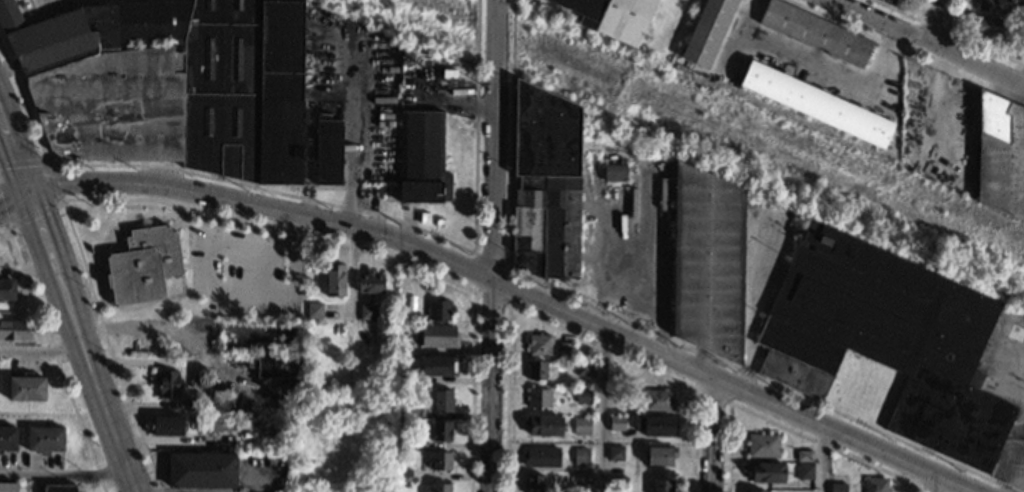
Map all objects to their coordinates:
building: (985, 5)
building: (1022, 8)
building: (611, 17)
road: (939, 23)
building: (986, 27)
building: (706, 31)
building: (815, 33)
road: (928, 41)
building: (1022, 47)
building: (409, 48)
building: (447, 77)
building: (170, 84)
building: (816, 104)
building: (328, 135)
road: (13, 145)
road: (350, 145)
building: (1000, 156)
building: (421, 158)
building: (614, 172)
road: (13, 182)
traffic signals: (27, 182)
building: (546, 183)
road: (15, 196)
road: (60, 198)
road: (492, 245)
building: (703, 262)
building: (142, 264)
building: (334, 280)
building: (370, 283)
road: (508, 285)
road: (228, 286)
building: (6, 290)
building: (314, 310)
building: (439, 310)
building: (368, 313)
building: (13, 330)
building: (292, 337)
building: (438, 337)
road: (73, 338)
building: (887, 340)
building: (539, 344)
road: (197, 345)
road: (108, 348)
building: (566, 350)
road: (38, 351)
road: (54, 360)
building: (279, 366)
building: (436, 366)
building: (583, 369)
building: (537, 370)
building: (402, 378)
building: (614, 383)
building: (168, 384)
building: (26, 387)
building: (584, 396)
building: (538, 398)
building: (440, 400)
building: (658, 400)
building: (192, 406)
road: (599, 409)
building: (404, 411)
building: (616, 422)
building: (216, 423)
building: (542, 425)
building: (656, 425)
building: (166, 426)
building: (581, 426)
building: (440, 430)
road: (701, 433)
building: (7, 438)
building: (44, 440)
building: (402, 440)
building: (762, 445)
building: (615, 453)
building: (659, 455)
building: (804, 455)
building: (541, 457)
building: (580, 457)
road: (821, 460)
building: (440, 461)
building: (201, 469)
building: (804, 472)
building: (767, 473)
building: (402, 475)
road: (59, 476)
building: (582, 478)
building: (533, 483)
building: (618, 484)
road: (925, 484)
road: (1021, 484)
building: (875, 485)
building: (662, 486)
building: (7, 487)
building: (439, 487)
building: (59, 488)
building: (837, 490)
road: (215, 491)
building: (756, 491)
building: (802, 491)

